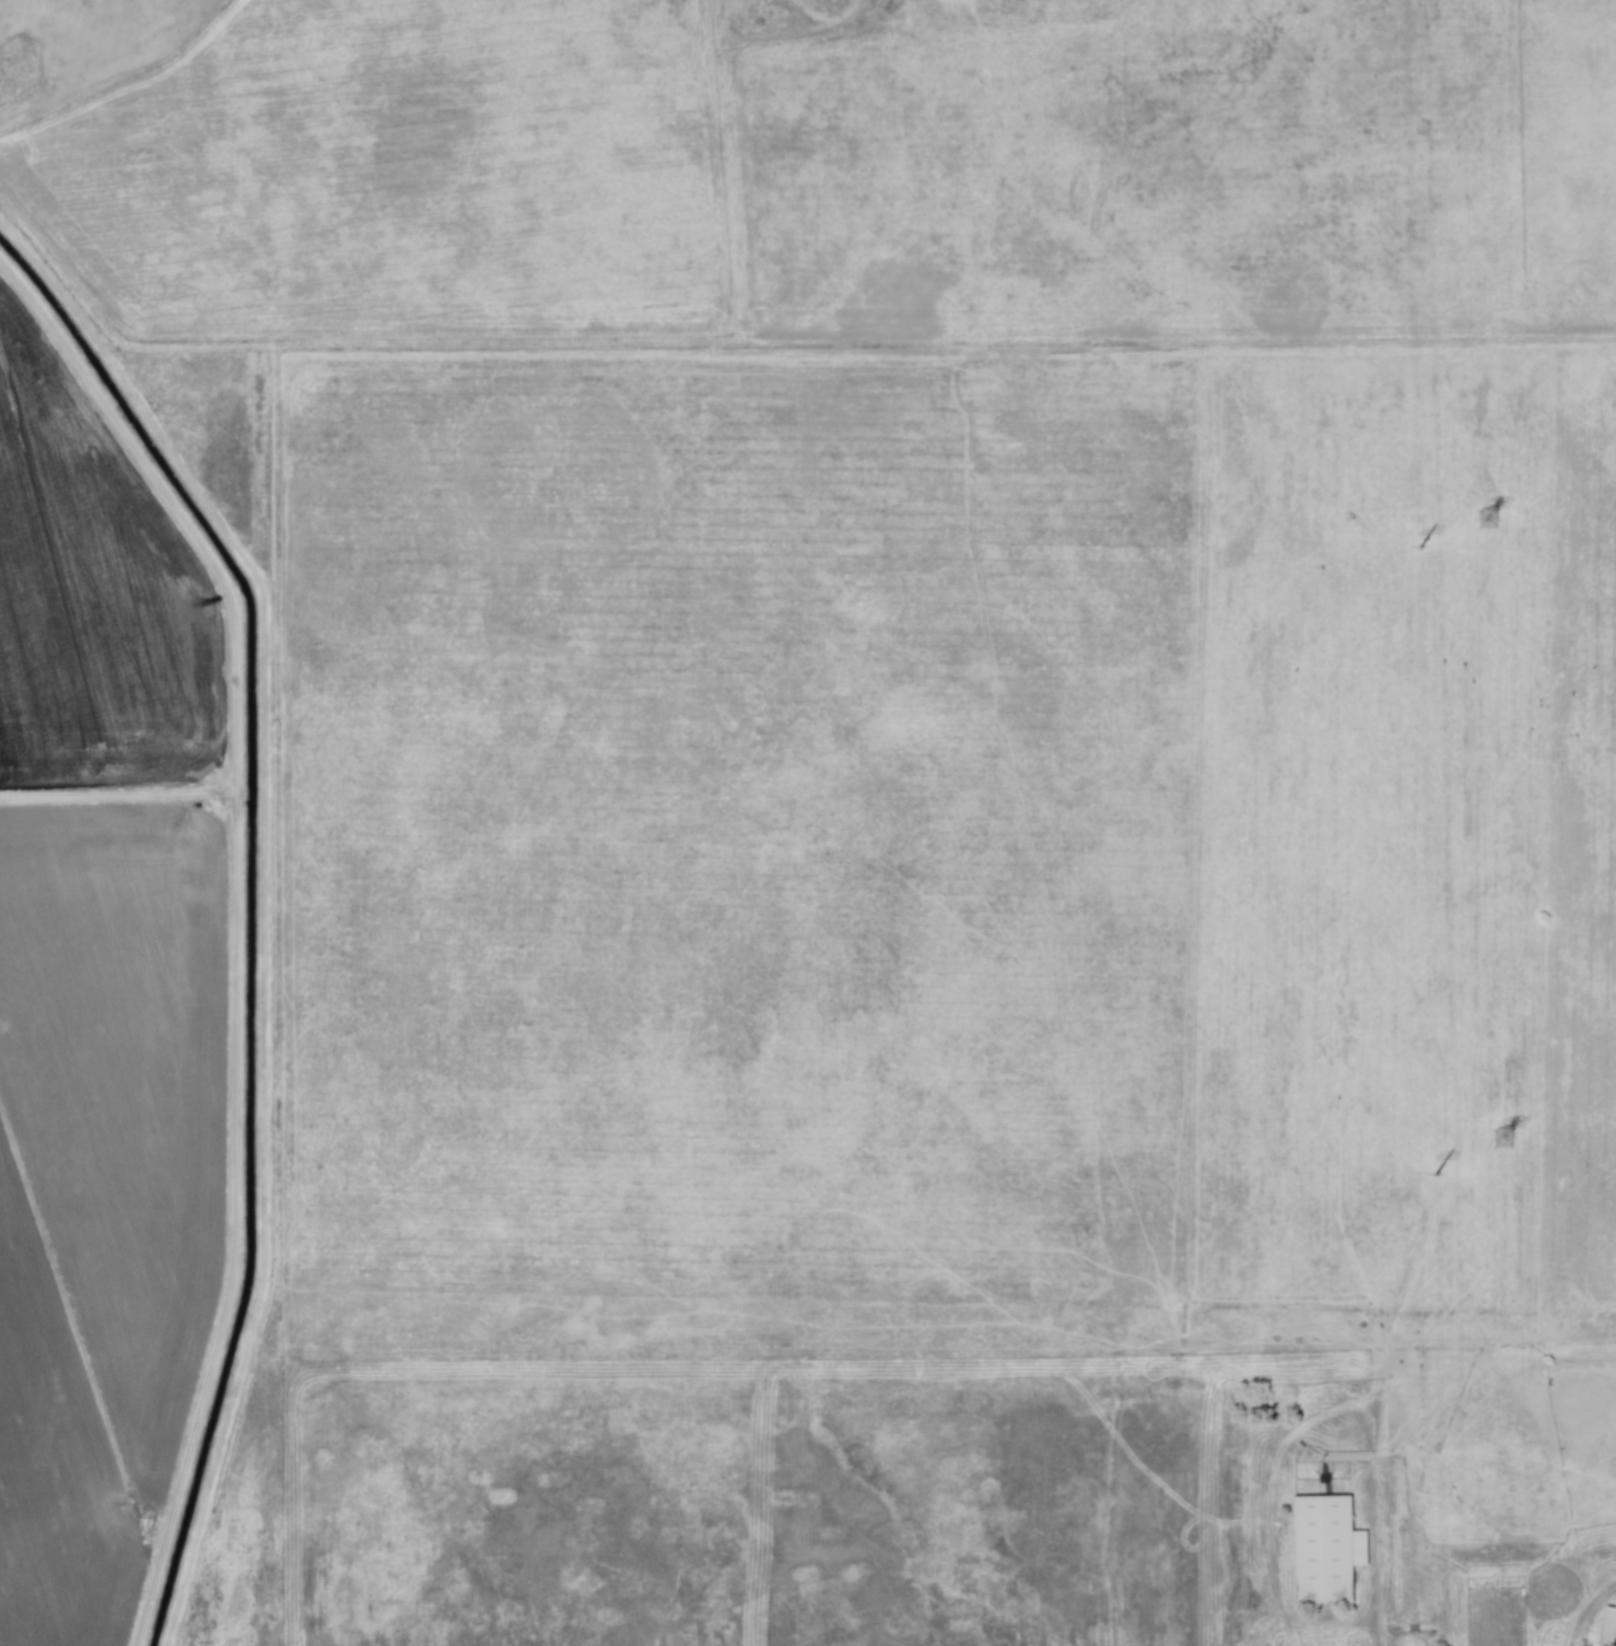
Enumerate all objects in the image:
power tower: (1489, 522)
power tower: (1504, 1142)
building: (1323, 1548)

